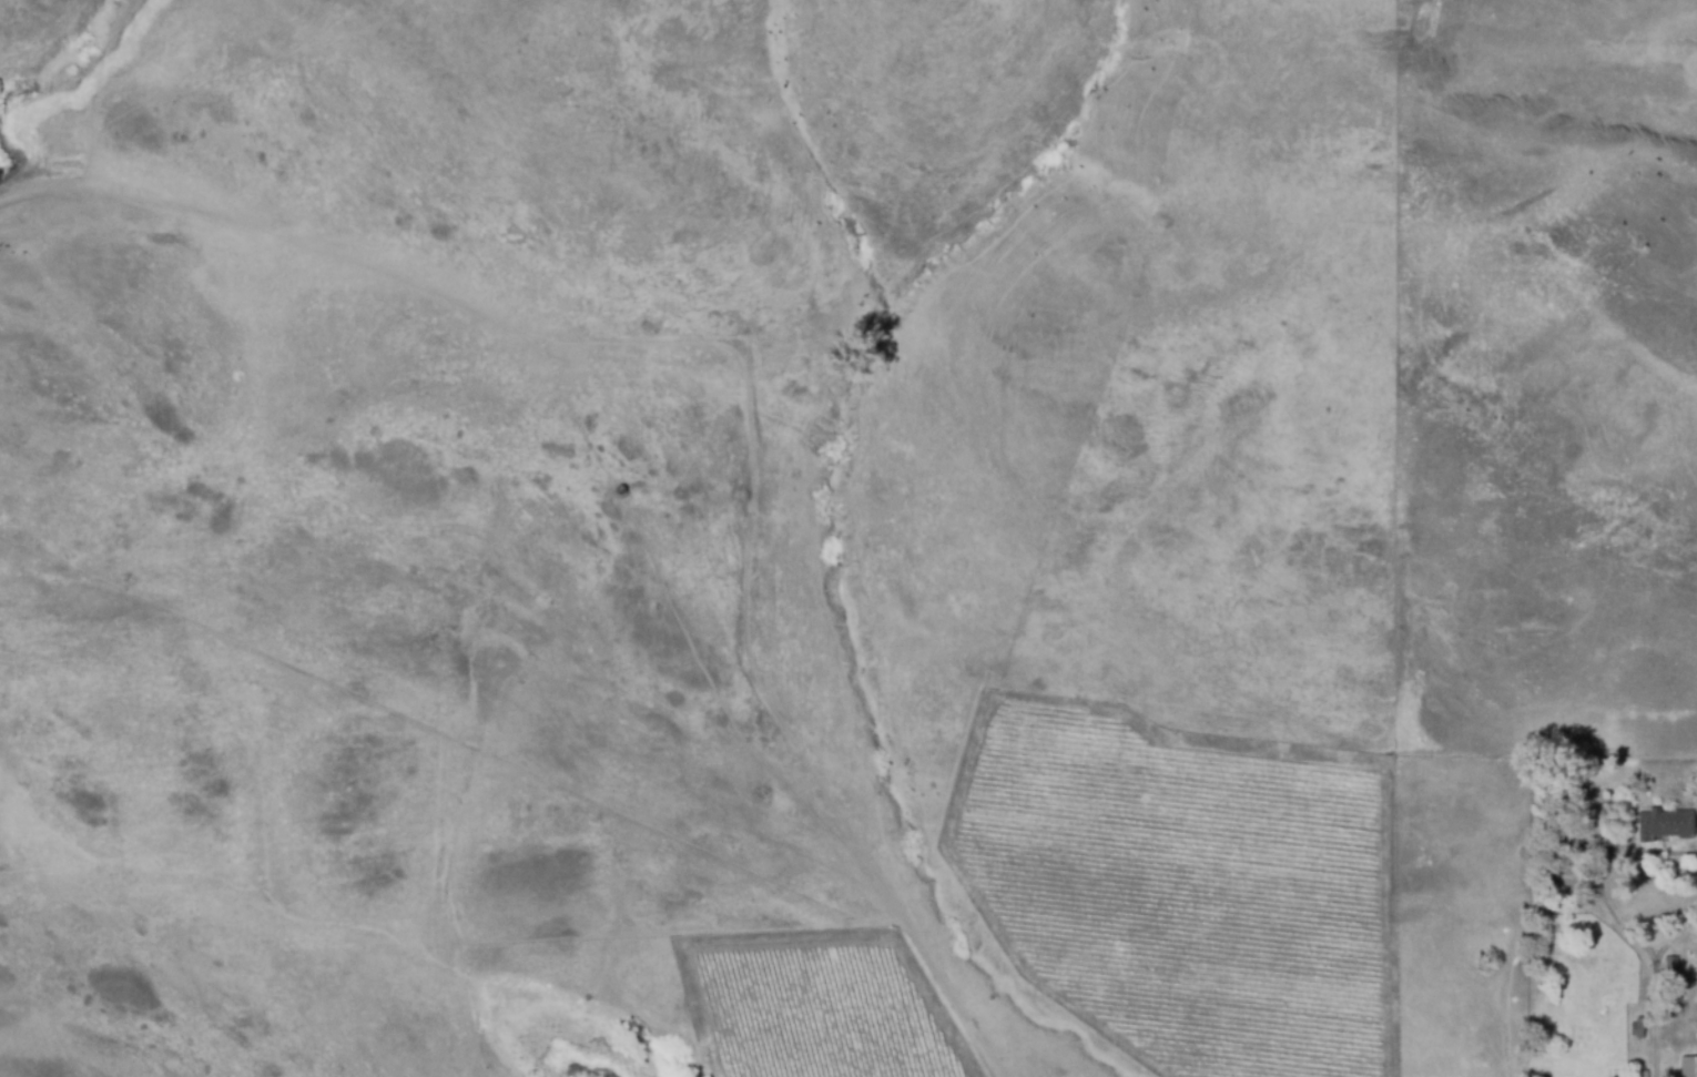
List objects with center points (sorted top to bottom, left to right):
building: (1665, 826)
road: (1603, 898)
building: (1670, 967)
road: (1655, 997)
building: (1638, 1027)
building: (1689, 1066)
building: (1640, 1073)

